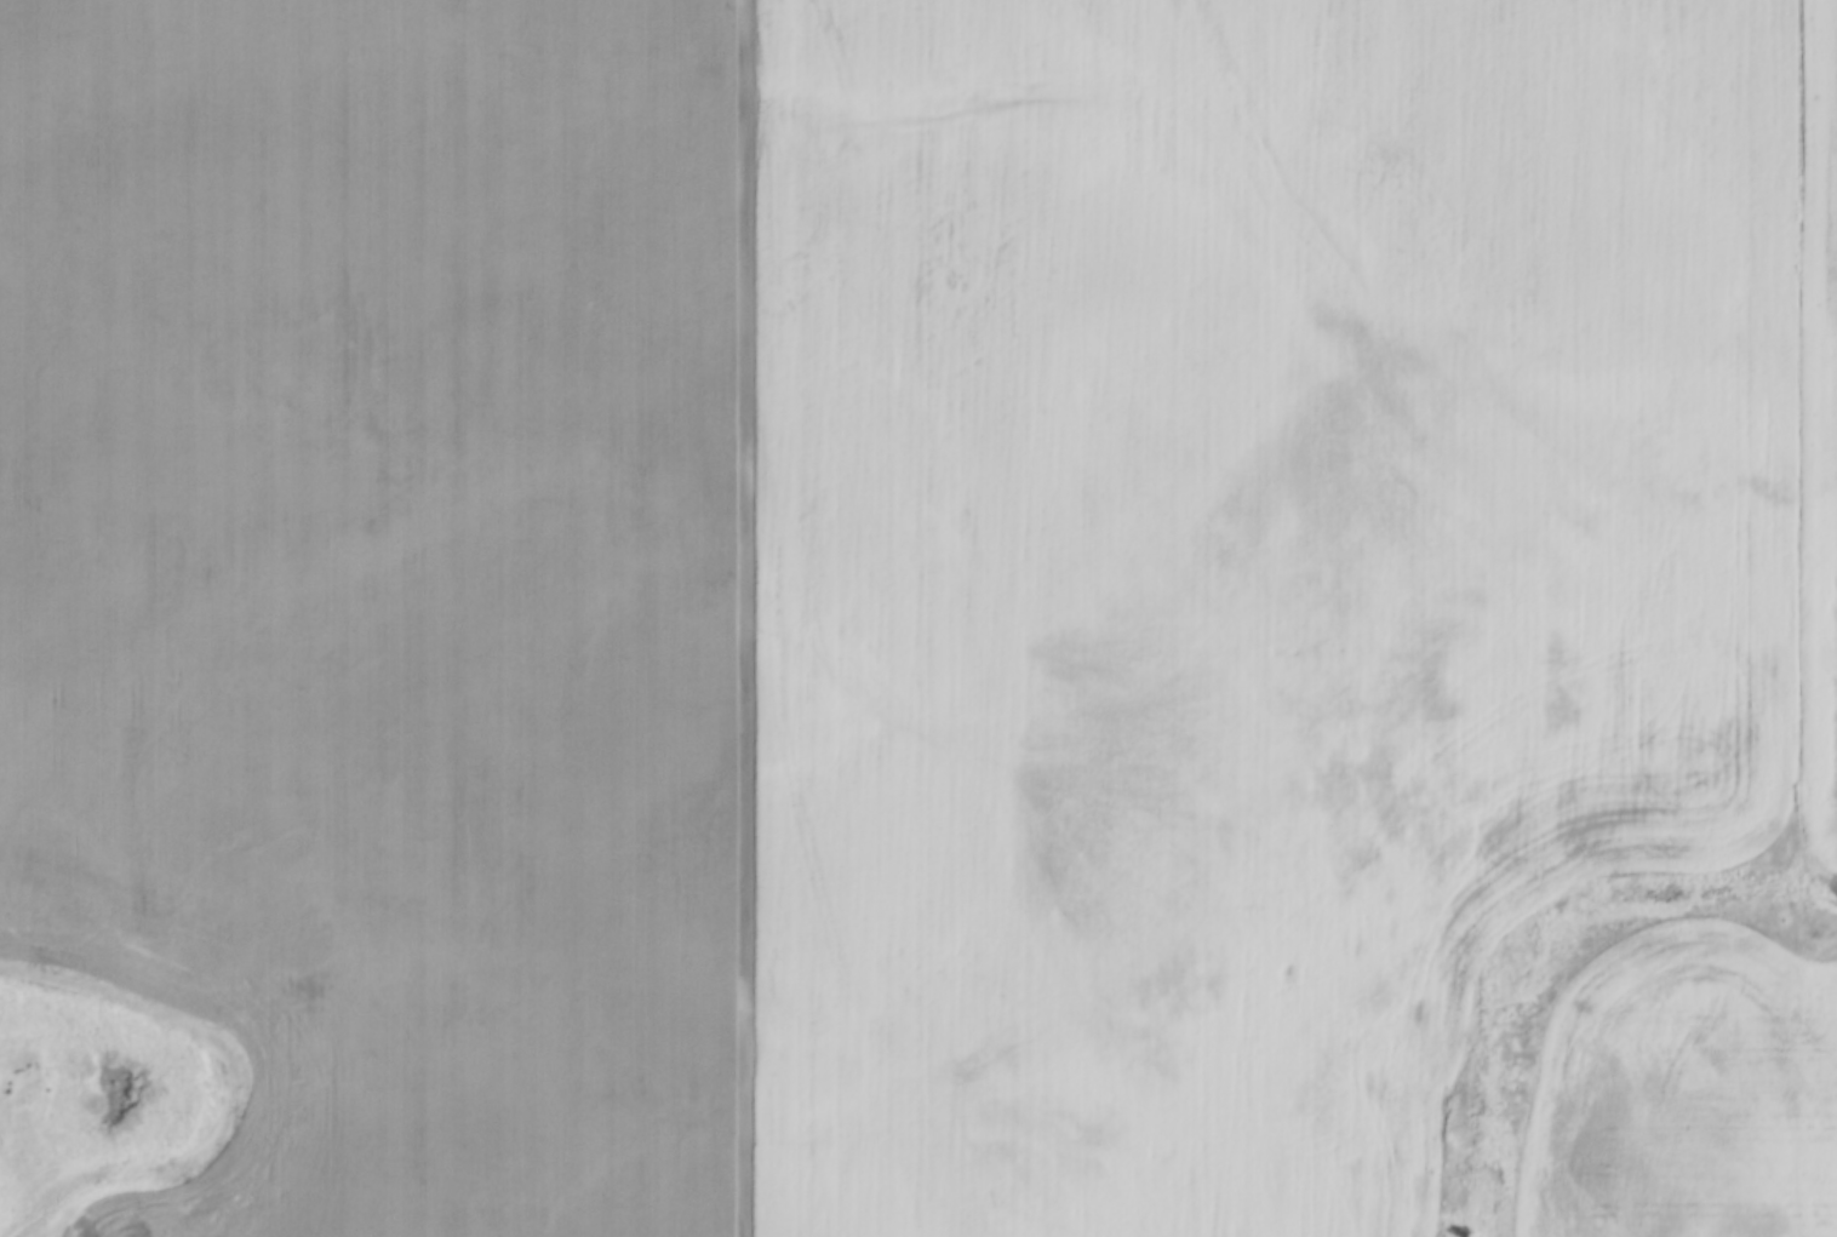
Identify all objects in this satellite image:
road: (757, 618)

